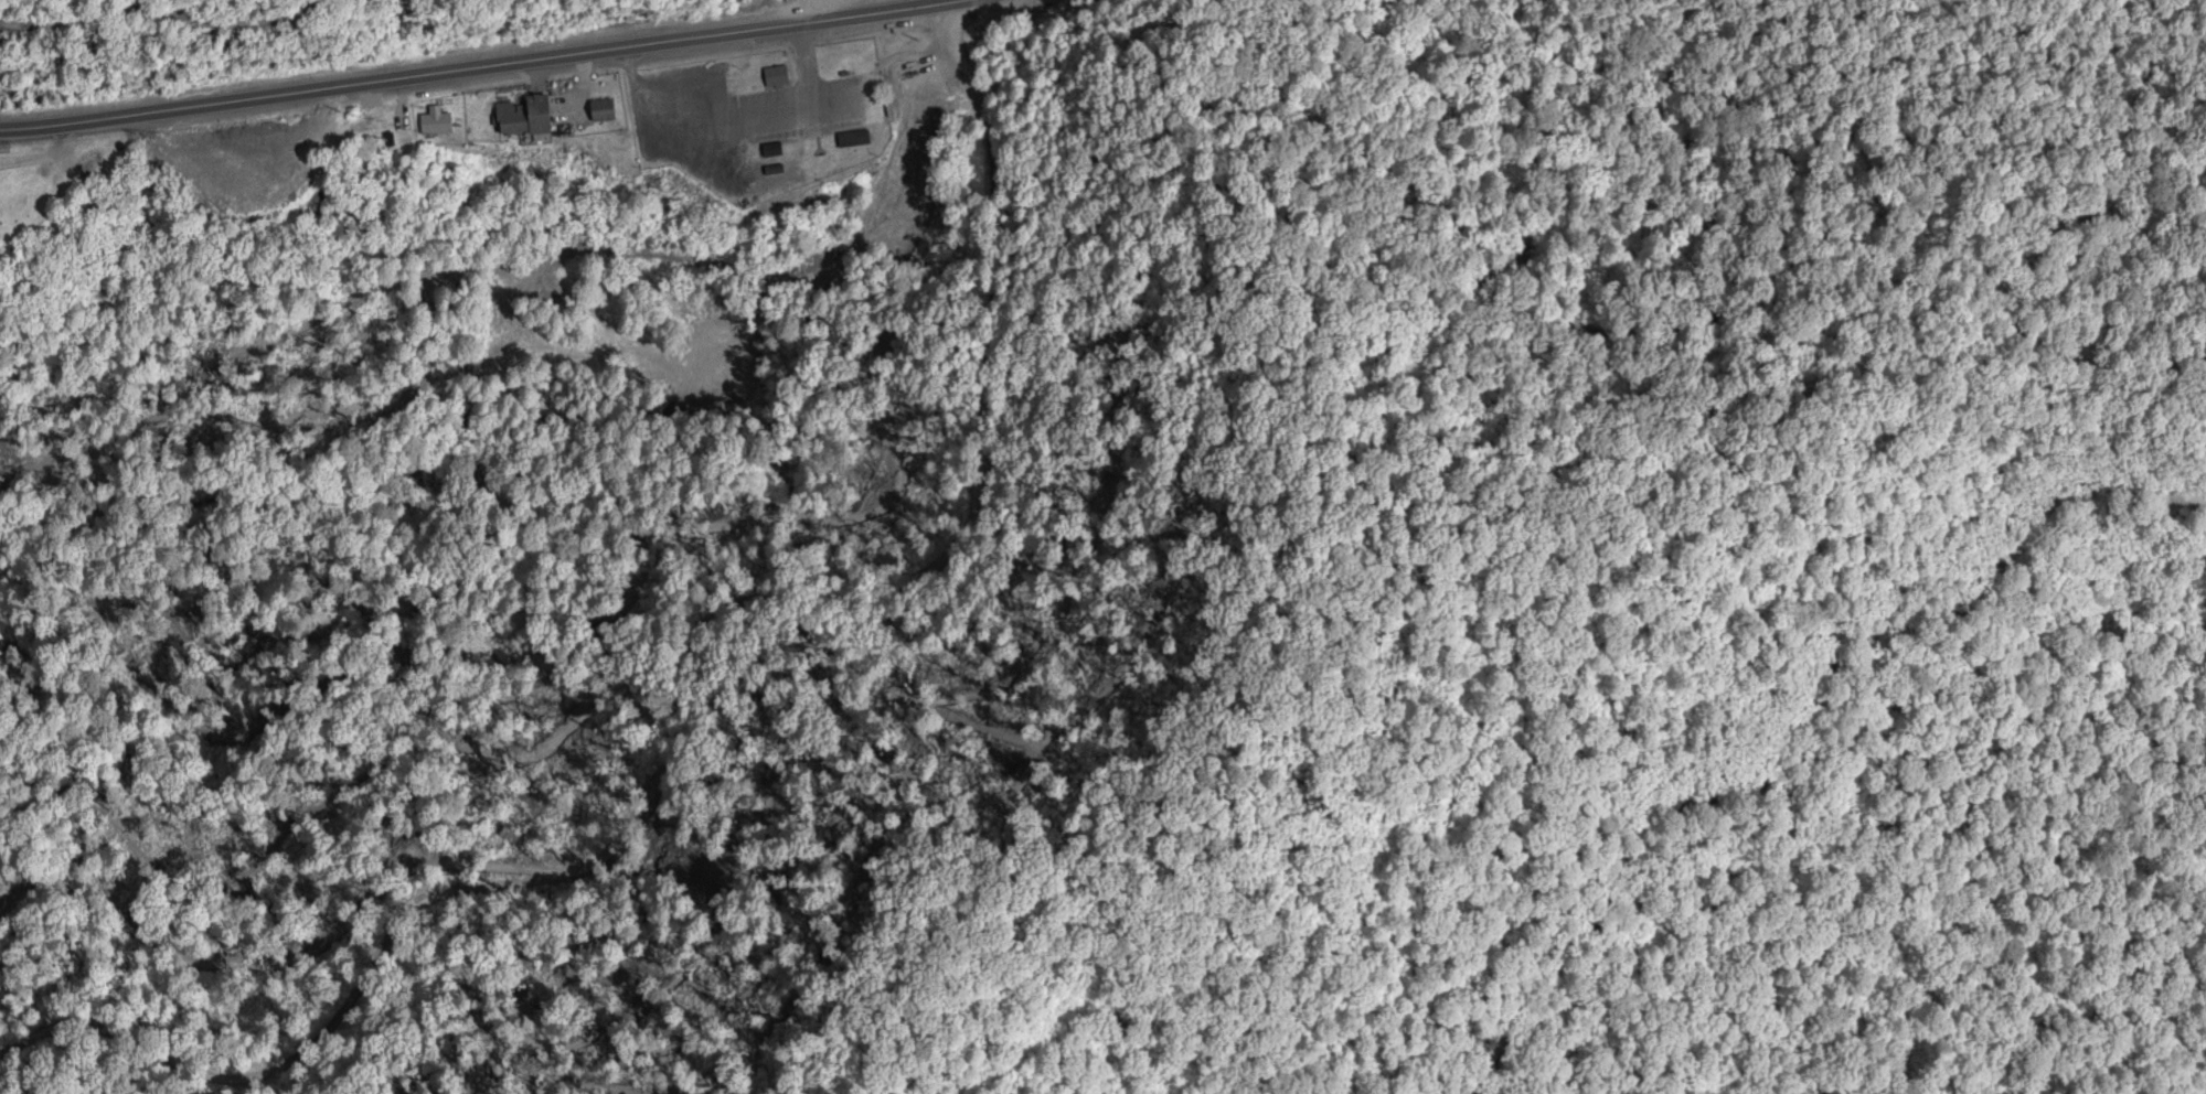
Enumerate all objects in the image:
road: (810, 12)
road: (475, 66)
building: (775, 76)
building: (523, 117)
building: (435, 125)
building: (852, 140)
road: (681, 689)

